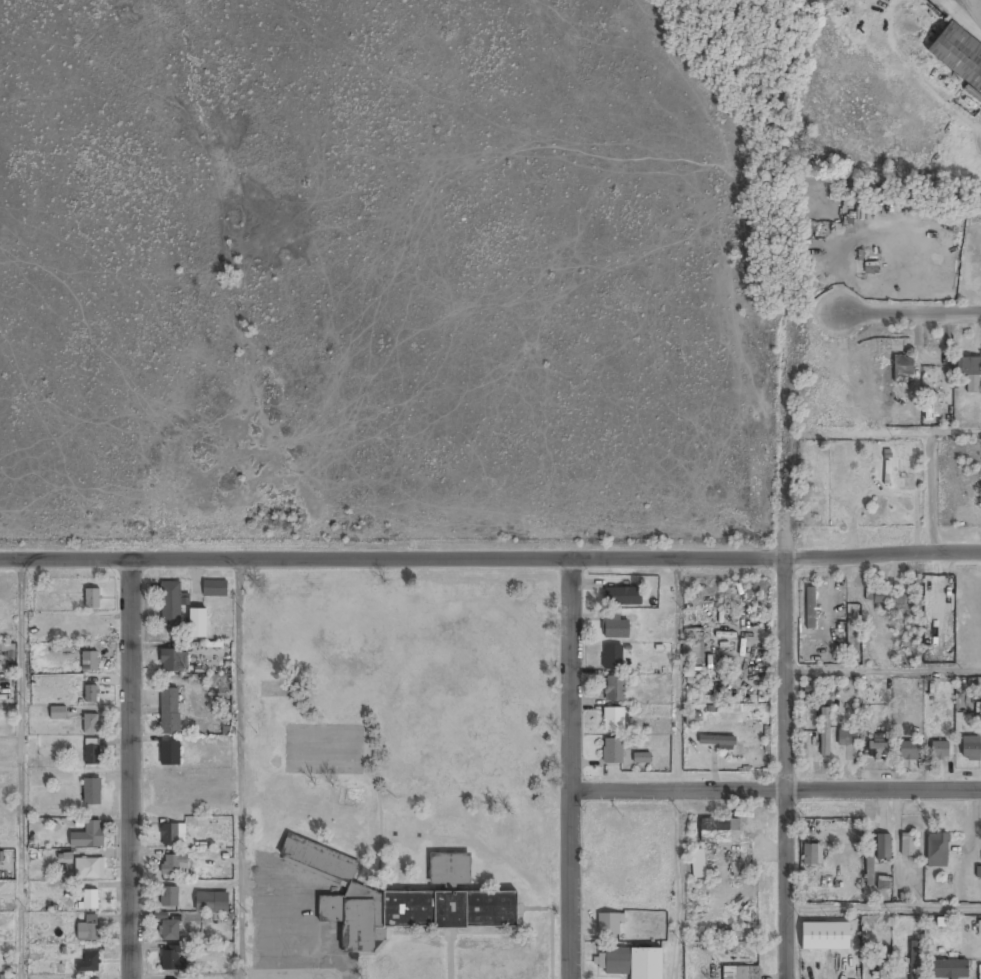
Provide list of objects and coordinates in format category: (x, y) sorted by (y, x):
building: (958, 53)
road: (930, 311)
building: (902, 367)
building: (969, 374)
building: (931, 405)
road: (958, 430)
road: (934, 492)
road: (490, 560)
building: (215, 588)
building: (623, 596)
building: (880, 597)
building: (92, 599)
building: (171, 605)
building: (811, 608)
building: (198, 623)
building: (615, 627)
building: (612, 658)
building: (172, 661)
building: (89, 662)
road: (881, 673)
road: (678, 675)
road: (237, 676)
building: (614, 689)
building: (90, 694)
park: (401, 700)
building: (169, 711)
building: (57, 712)
building: (692, 719)
building: (614, 721)
building: (91, 724)
building: (825, 732)
building: (846, 737)
building: (717, 742)
building: (877, 745)
building: (971, 748)
building: (939, 750)
building: (909, 751)
building: (92, 752)
building: (613, 752)
building: (169, 754)
building: (642, 759)
road: (21, 769)
road: (130, 769)
road: (572, 769)
road: (782, 770)
road: (776, 790)
building: (91, 792)
road: (183, 792)
building: (719, 832)
building: (173, 835)
building: (87, 836)
building: (908, 845)
building: (883, 848)
building: (938, 850)
building: (810, 855)
building: (319, 859)
building: (174, 865)
building: (697, 865)
building: (89, 869)
building: (449, 870)
road: (679, 884)
road: (237, 885)
building: (169, 898)
building: (88, 899)
building: (211, 903)
road: (882, 909)
building: (414, 912)
building: (609, 924)
building: (87, 929)
building: (169, 930)
building: (825, 936)
building: (170, 959)
building: (915, 960)
building: (88, 963)
building: (630, 963)
building: (882, 963)
building: (950, 970)
building: (741, 973)

